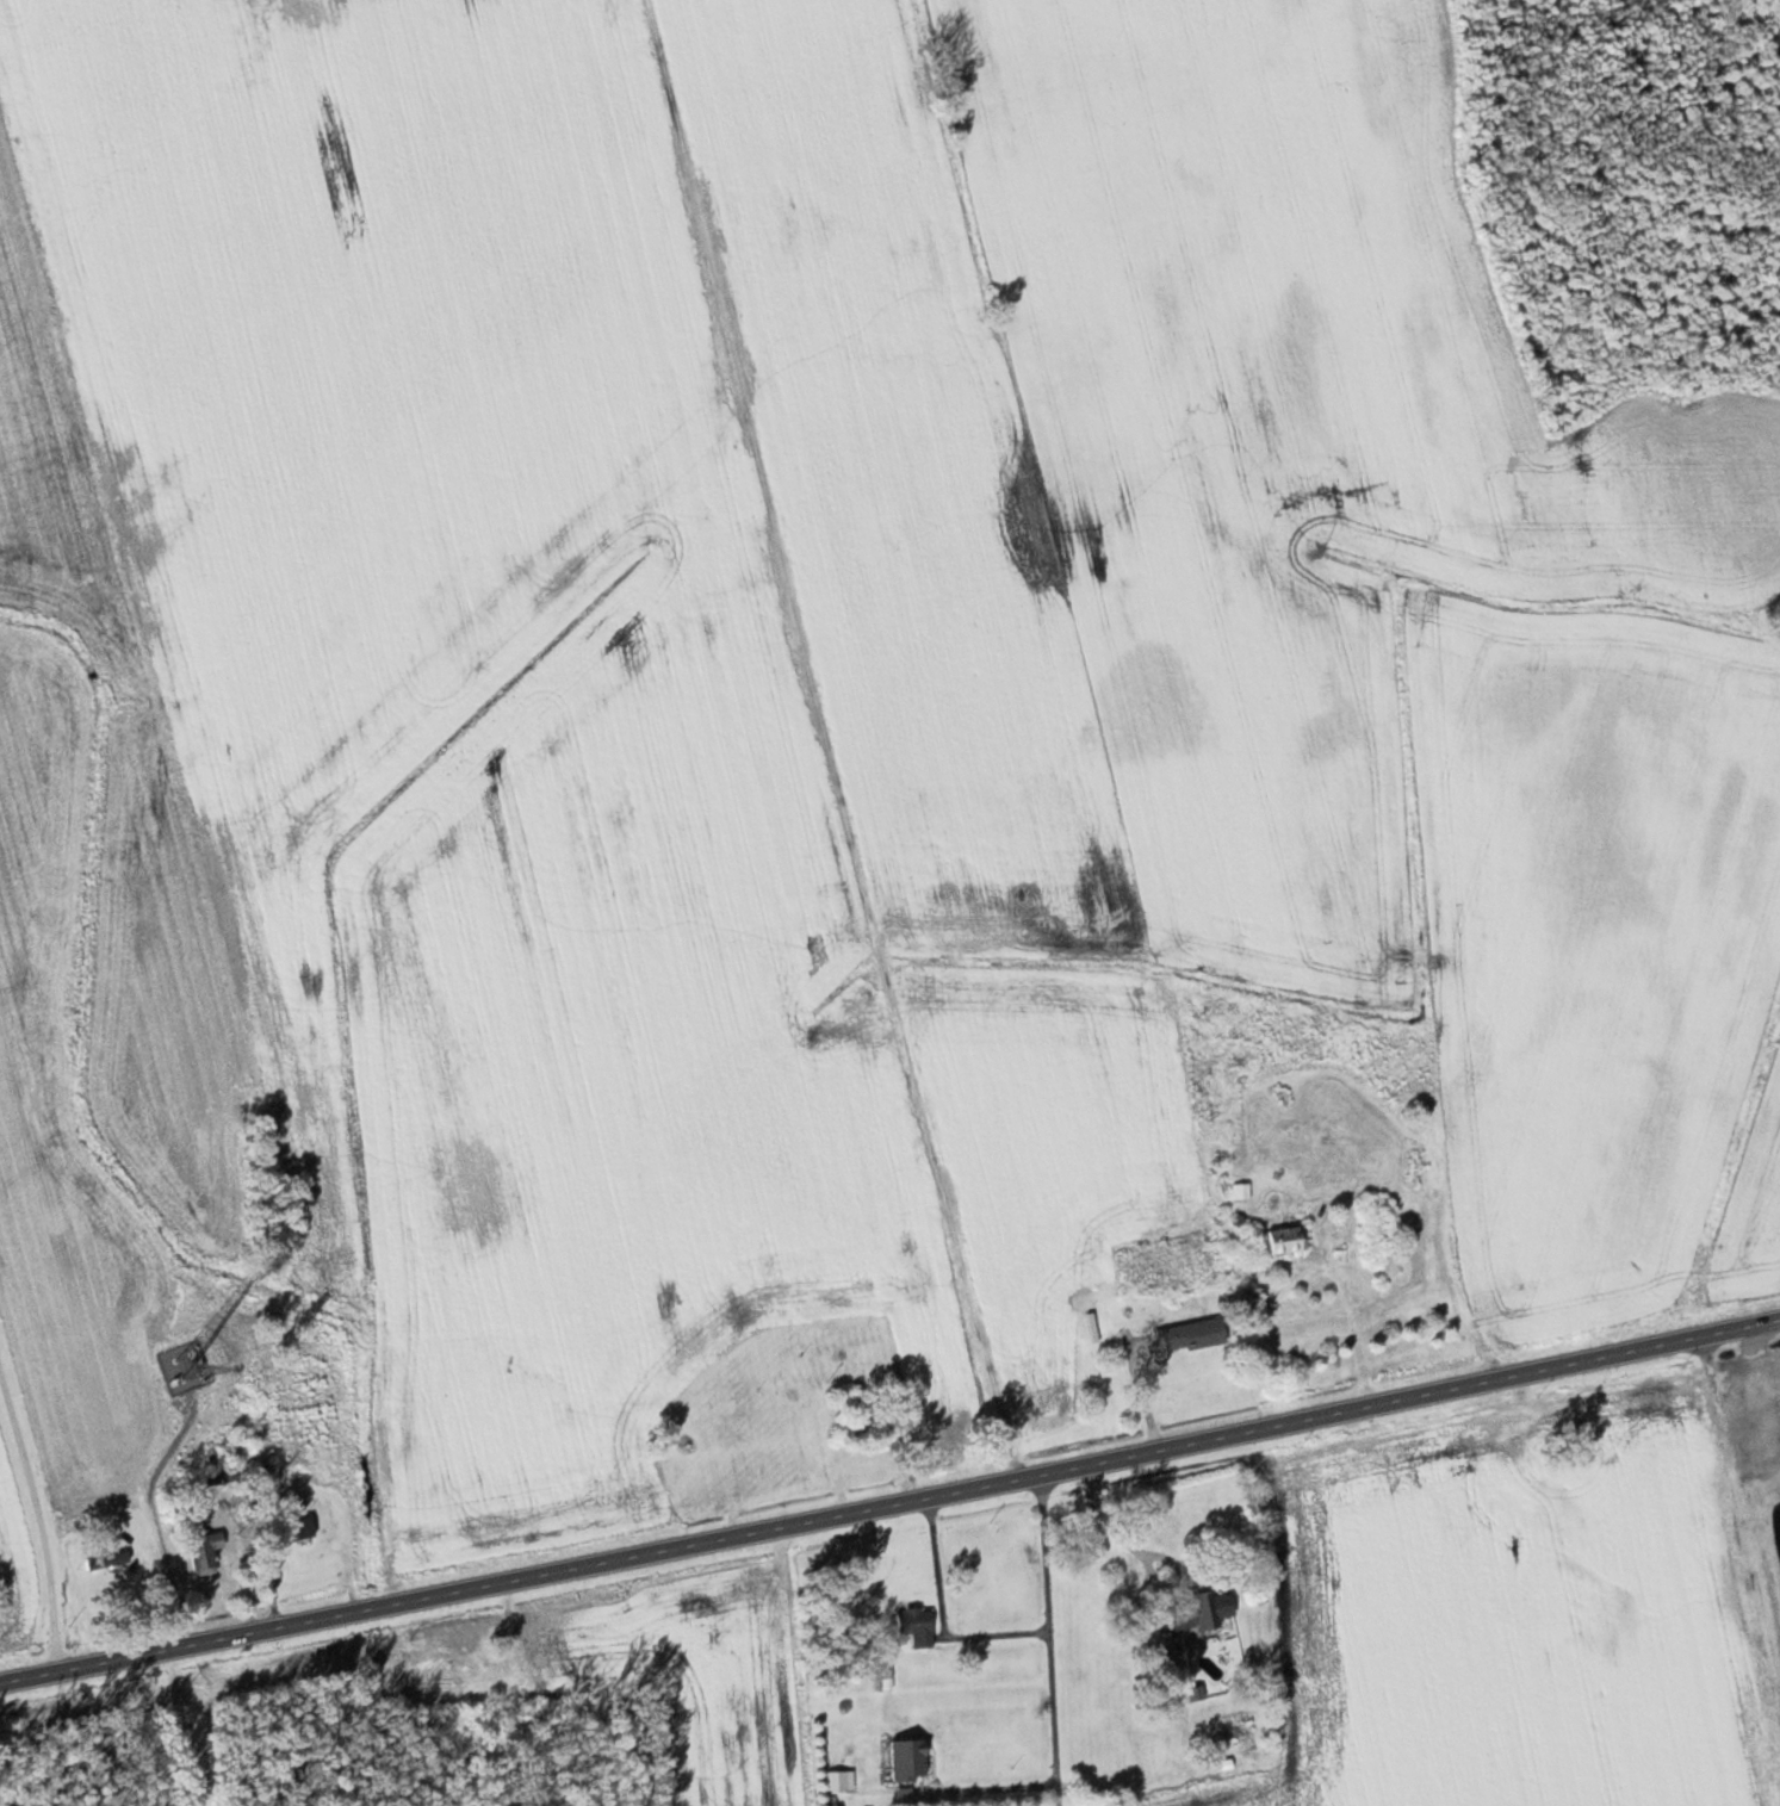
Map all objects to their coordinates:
building: (1283, 1239)
building: (1185, 1336)
building: (773, 1395)
road: (889, 1503)
road: (42, 1513)
building: (290, 1532)
building: (197, 1544)
road: (1142, 1551)
building: (1192, 1612)
road: (944, 1615)
building: (912, 1626)
road: (1053, 1639)
building: (872, 1763)
road: (959, 1787)

